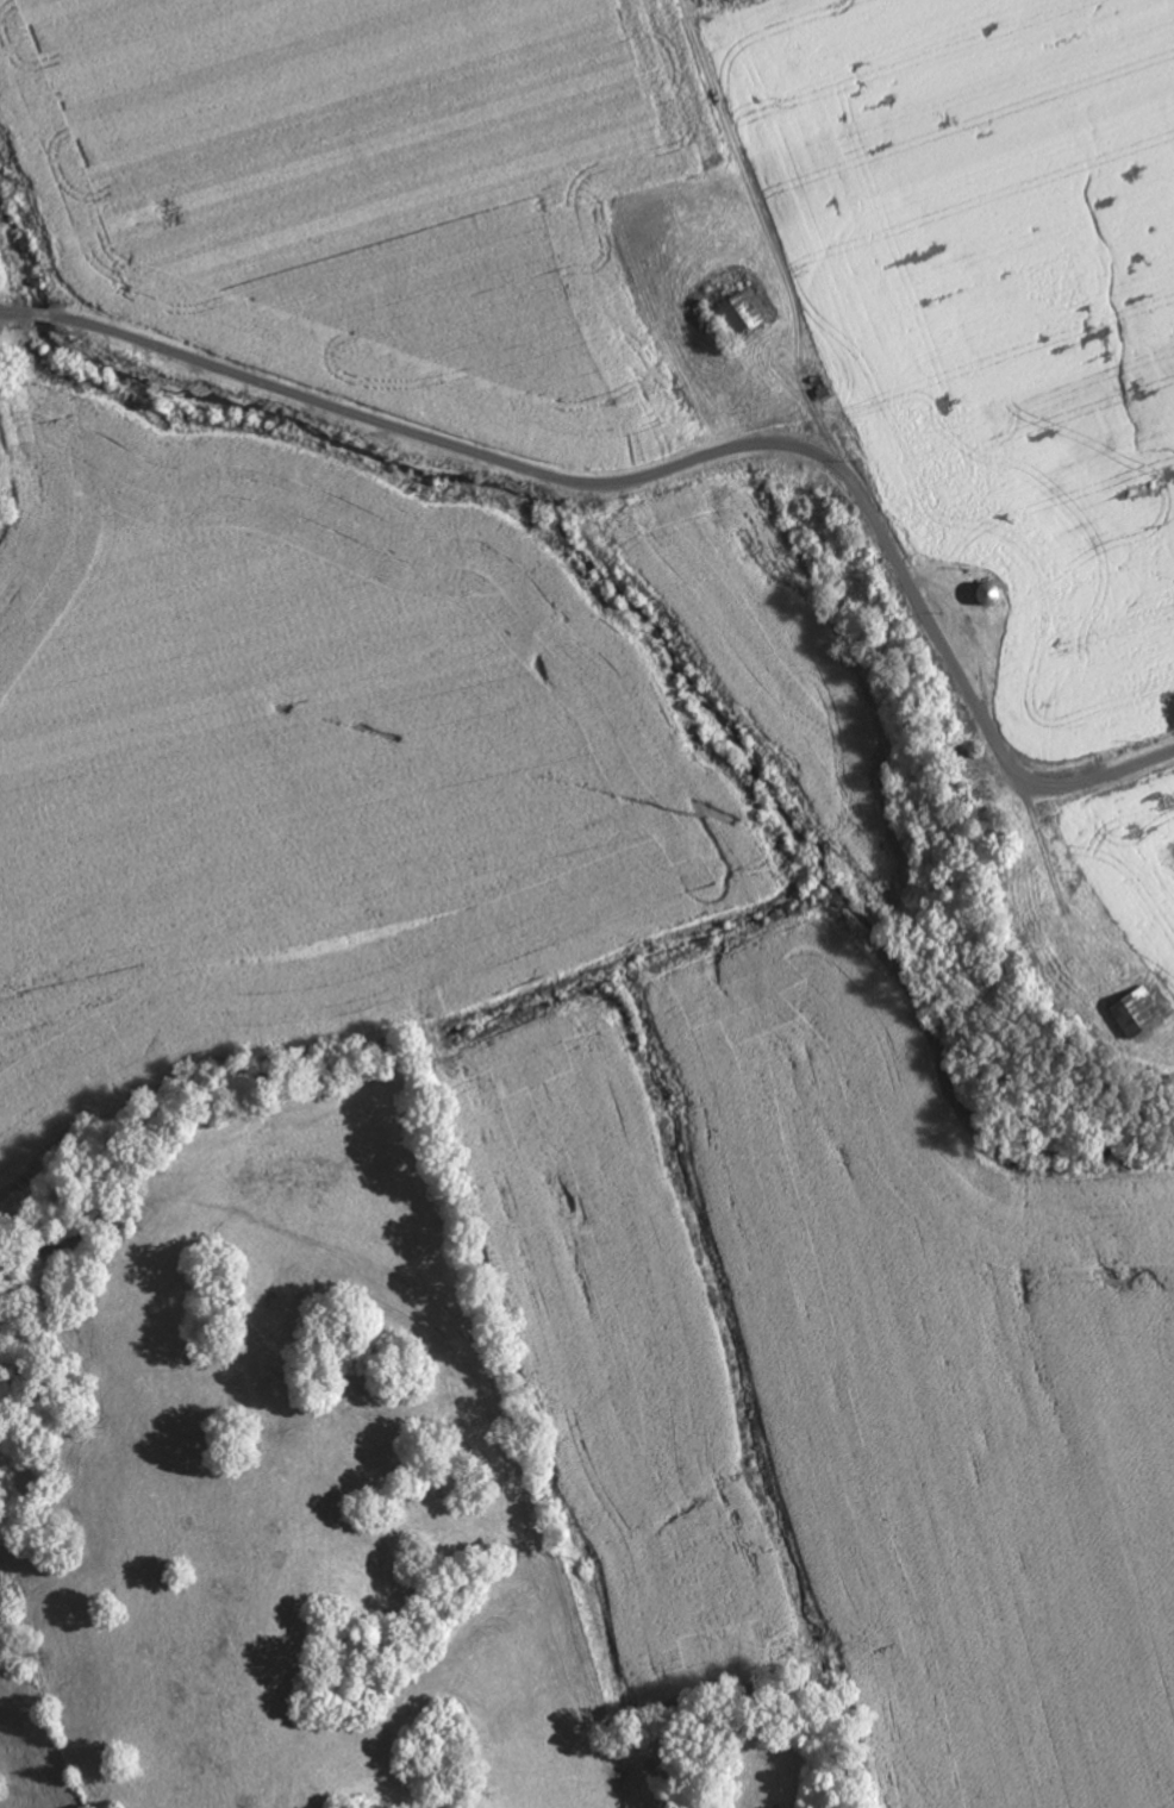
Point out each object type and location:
building: (747, 312)
road: (669, 471)
building: (1130, 1012)

